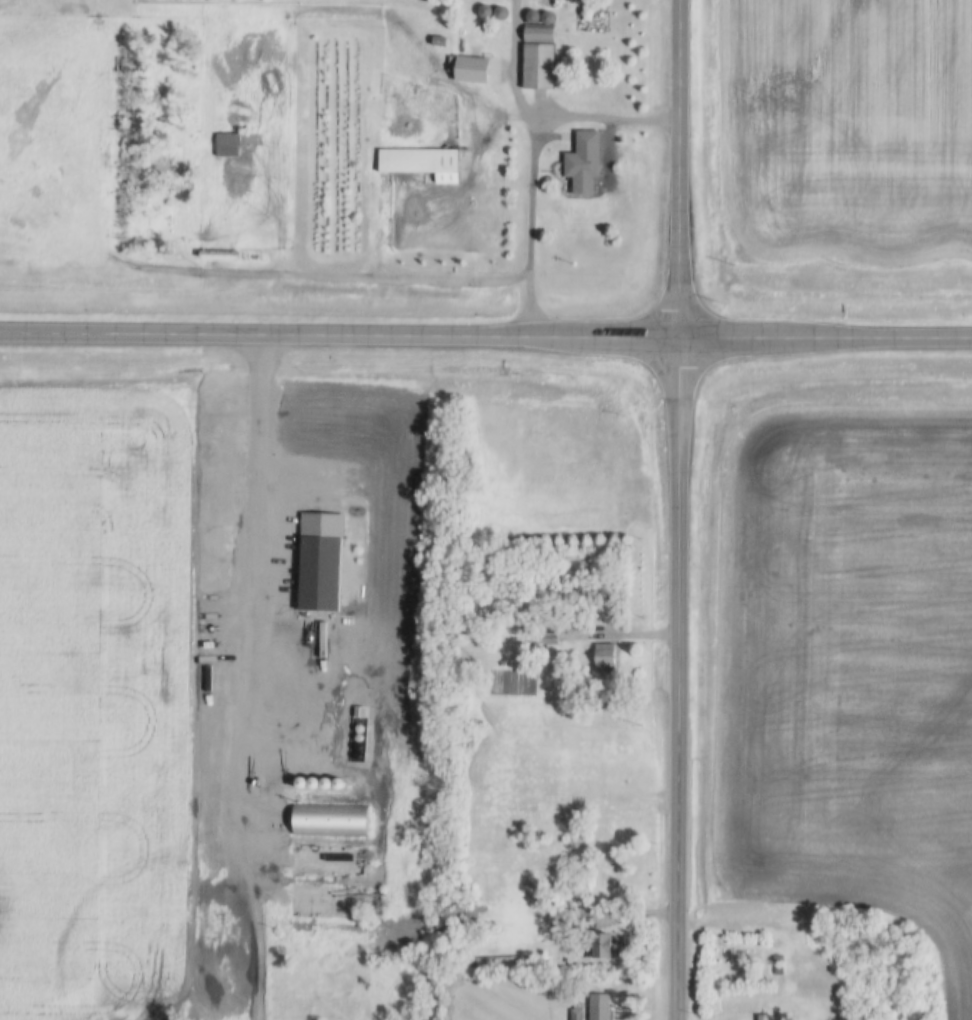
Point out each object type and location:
building: (485, 12)
silo: (485, 12)
building: (500, 14)
silo: (500, 14)
building: (532, 18)
silo: (532, 18)
building: (548, 19)
silo: (548, 19)
building: (540, 36)
building: (440, 42)
building: (540, 68)
building: (468, 69)
road: (552, 119)
building: (229, 145)
building: (423, 163)
building: (587, 163)
road: (689, 170)
road: (537, 228)
road: (332, 277)
road: (32, 333)
road: (518, 339)
building: (319, 575)
road: (244, 608)
building: (551, 638)
building: (606, 659)
road: (681, 680)
building: (301, 784)
silo: (301, 784)
building: (313, 784)
silo: (313, 784)
building: (325, 785)
silo: (325, 785)
building: (338, 785)
silo: (338, 785)
building: (329, 821)
building: (331, 867)
building: (559, 910)
building: (607, 945)
road: (254, 949)
building: (778, 959)
building: (778, 971)
building: (601, 1007)
building: (577, 1014)
building: (765, 1017)
building: (329, 1018)
building: (374, 1019)

